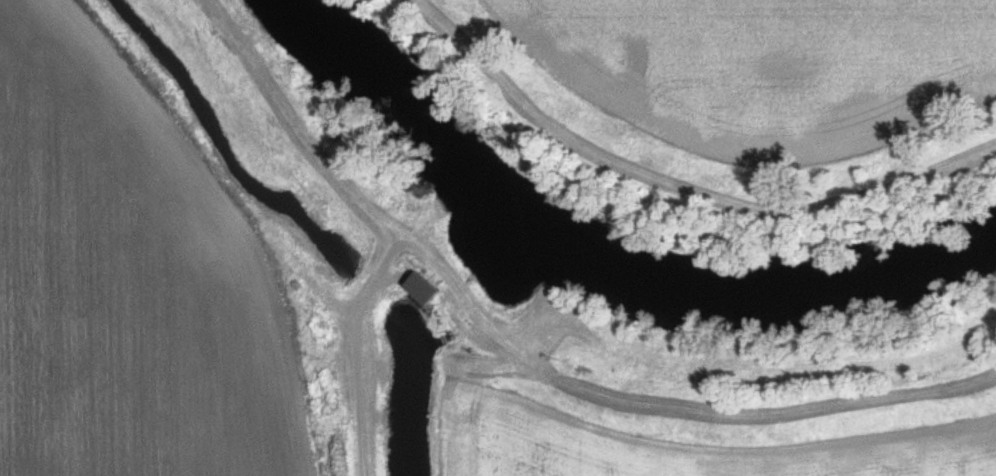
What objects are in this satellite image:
river: (590, 269)
crop: (126, 281)
building: (415, 288)
road: (357, 401)

